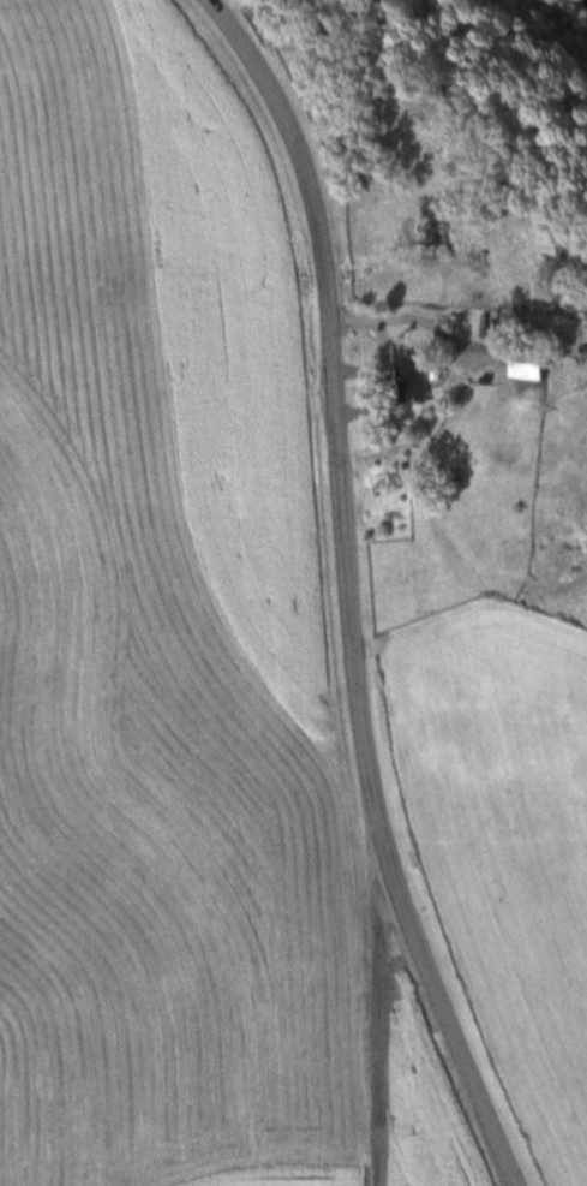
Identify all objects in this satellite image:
building: (581, 353)
building: (525, 363)
building: (413, 377)
road: (353, 592)

